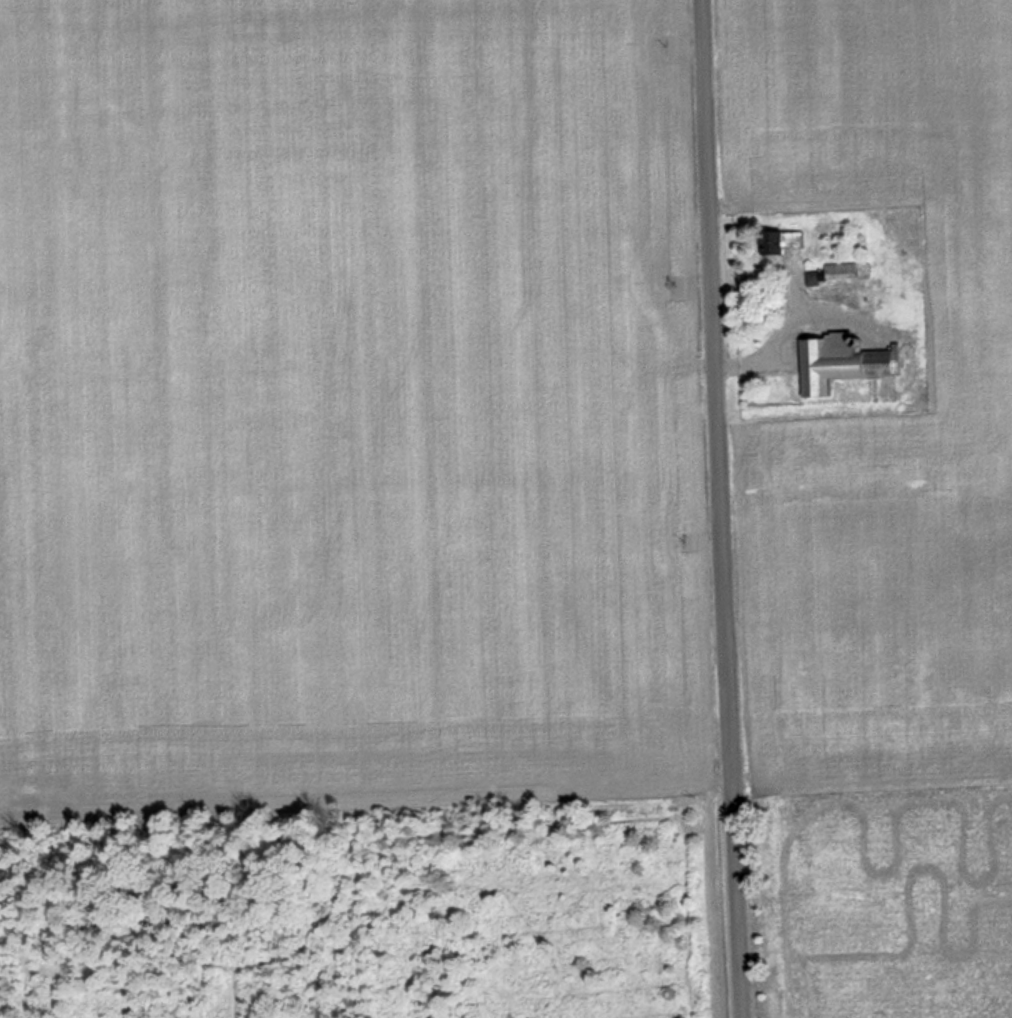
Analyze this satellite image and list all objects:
building: (782, 242)
building: (844, 362)
road: (718, 509)

